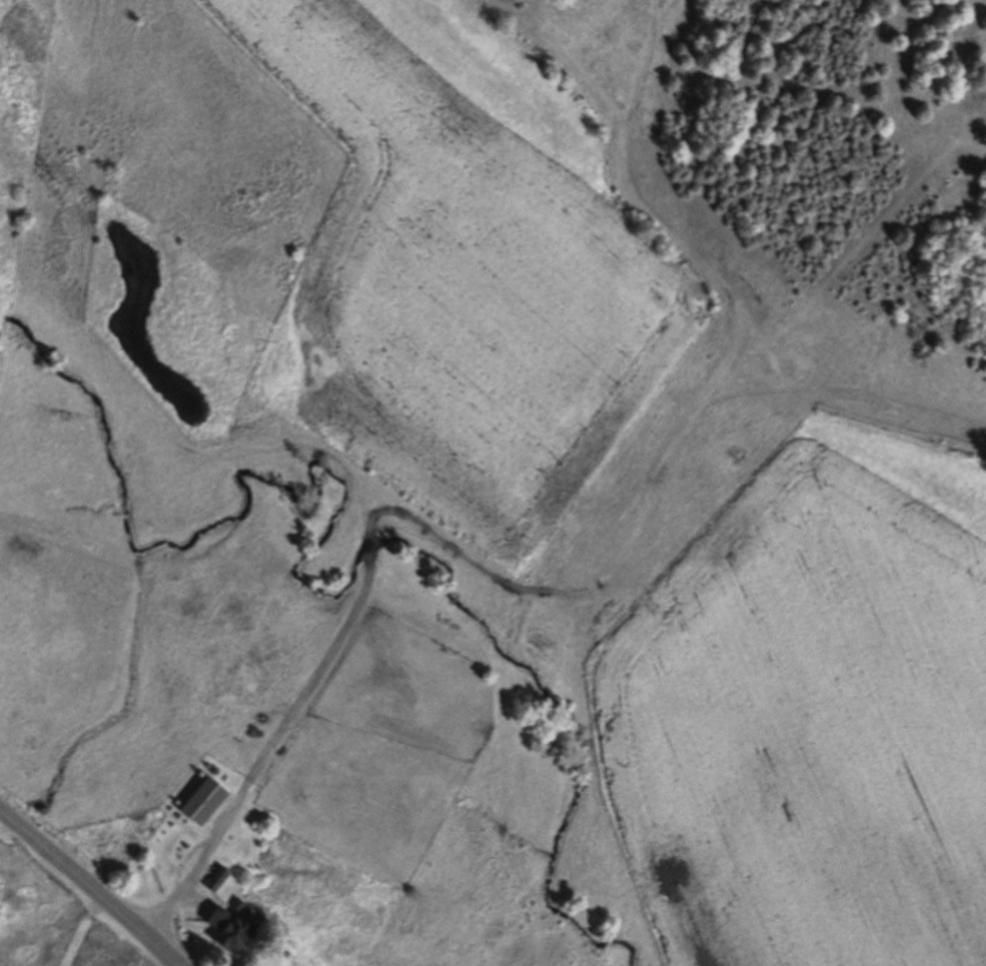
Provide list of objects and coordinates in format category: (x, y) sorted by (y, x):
road: (627, 518)
road: (454, 599)
building: (206, 801)
road: (194, 876)
building: (219, 879)
road: (92, 884)
building: (233, 929)

